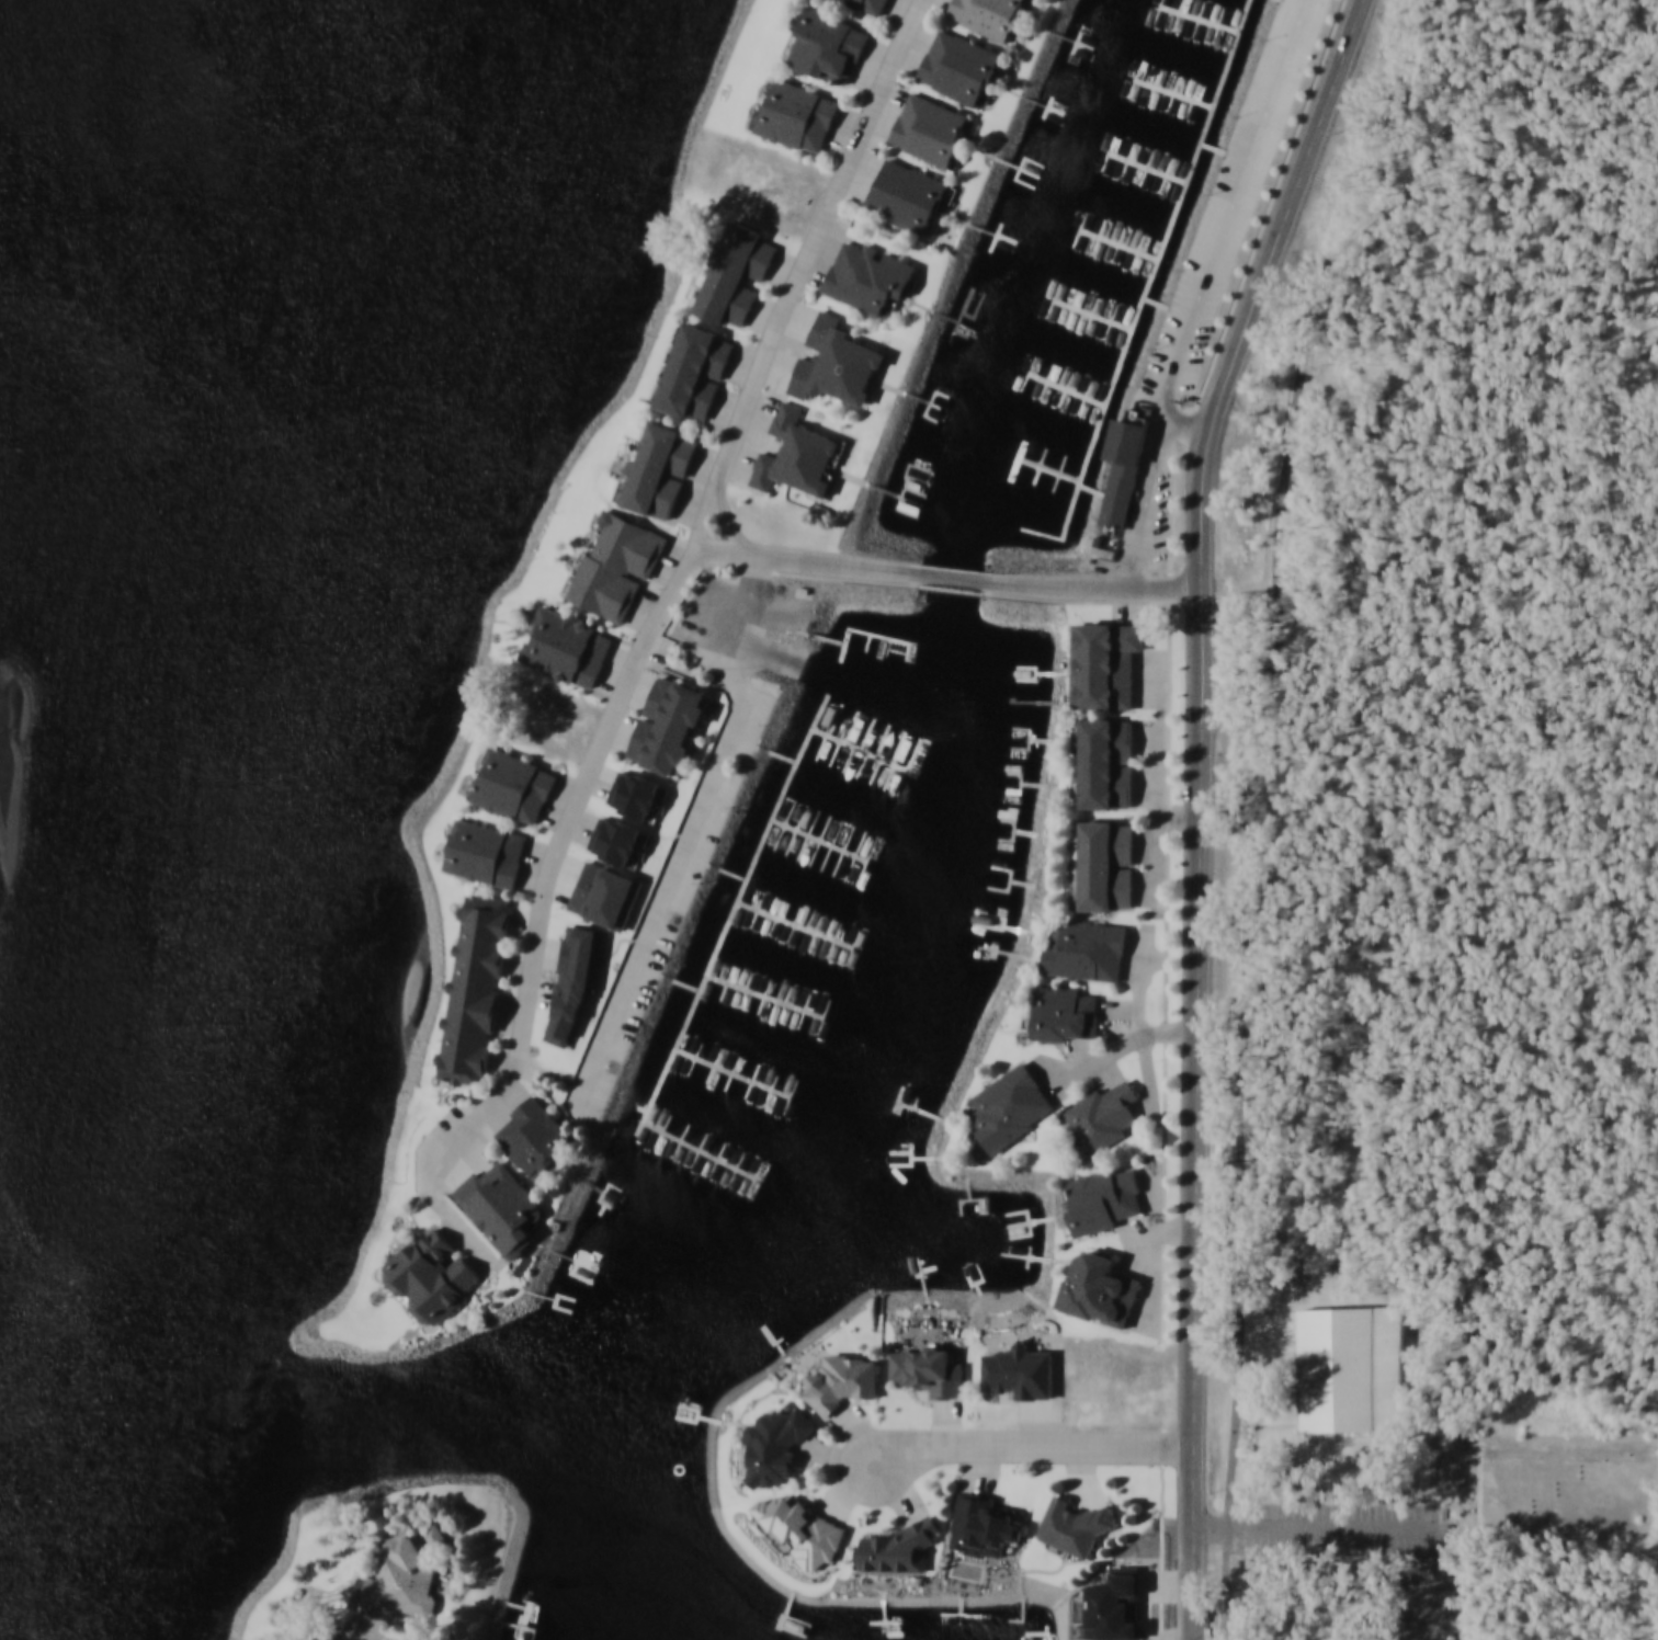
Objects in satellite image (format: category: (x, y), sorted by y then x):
pier: (1277, 0)
building: (871, 5)
pier: (1157, 12)
pier: (1177, 15)
building: (990, 16)
pier: (1199, 20)
pier: (1199, 20)
pier: (1216, 25)
building: (828, 45)
building: (961, 66)
pier: (1132, 82)
pier: (1150, 89)
pier: (1170, 95)
pier: (1172, 95)
pier: (1190, 102)
building: (798, 115)
building: (930, 128)
pier: (1211, 149)
pier: (1105, 156)
pier: (1124, 163)
pier: (1144, 169)
pier: (1145, 169)
pier: (1163, 175)
building: (910, 196)
parking lot: (1230, 200)
pier: (1077, 235)
pier: (1095, 242)
pier: (1116, 249)
pier: (1116, 249)
pier: (1135, 255)
building: (737, 273)
building: (867, 276)
pier: (1147, 289)
road: (1197, 291)
pier: (1052, 306)
pier: (1155, 306)
building: (970, 309)
pier: (1070, 314)
pier: (1091, 319)
pier: (1091, 319)
pier: (1110, 326)
road: (764, 355)
building: (837, 363)
building: (694, 371)
pier: (1025, 383)
pier: (1044, 390)
pier: (1064, 396)
pier: (1065, 396)
pier: (1082, 402)
road: (1191, 420)
park: (1616, 433)
building: (799, 455)
pier: (1015, 464)
pier: (1037, 468)
building: (1124, 468)
building: (659, 469)
pier: (1046, 472)
pier: (1057, 475)
pier: (1092, 490)
road: (704, 516)
road: (722, 555)
building: (615, 565)
road: (955, 577)
road: (1093, 586)
river: (222, 641)
building: (568, 647)
building: (1105, 663)
pier: (836, 718)
building: (669, 724)
pier: (852, 726)
pier: (868, 732)
pier: (884, 739)
pier: (822, 747)
pier: (899, 747)
pier: (860, 748)
pier: (836, 752)
pier: (915, 752)
pier: (779, 754)
pier: (849, 759)
building: (1105, 763)
pier: (863, 764)
pier: (876, 770)
road: (1239, 772)
pier: (890, 775)
pier: (904, 781)
building: (513, 784)
road: (1200, 806)
road: (576, 808)
pier: (786, 825)
pier: (797, 831)
pier: (809, 834)
pier: (821, 839)
pier: (821, 841)
pier: (832, 845)
pier: (844, 850)
building: (486, 852)
pier: (856, 855)
pier: (868, 859)
building: (1104, 865)
pier: (729, 873)
pier: (758, 911)
pier: (734, 913)
pier: (776, 920)
pier: (794, 927)
pier: (794, 929)
pier: (814, 937)
pier: (833, 945)
building: (1087, 949)
pier: (851, 954)
pier: (682, 983)
pier: (727, 984)
building: (475, 988)
pier: (745, 992)
pier: (764, 1001)
pier: (764, 1001)
pier: (783, 1010)
building: (1068, 1013)
pier: (803, 1018)
pier: (821, 1026)
road: (1117, 1044)
pier: (695, 1058)
pier: (715, 1067)
pier: (733, 1074)
pier: (734, 1074)
pier: (752, 1082)
pier: (771, 1091)
pier: (791, 1101)
building: (1012, 1106)
building: (1105, 1116)
pier: (665, 1131)
building: (536, 1137)
pier: (684, 1140)
pier: (702, 1148)
pier: (702, 1149)
pier: (722, 1157)
pier: (740, 1165)
road: (436, 1170)
pier: (759, 1173)
building: (1103, 1200)
building: (502, 1207)
building: (432, 1276)
building: (1101, 1289)
building: (1338, 1368)
building: (1020, 1371)
building: (843, 1379)
road: (1281, 1425)
road: (1262, 1430)
road: (1352, 1438)
building: (776, 1445)
road: (1049, 1447)
road: (1325, 1472)
road: (1483, 1483)
park: (1560, 1484)
road: (507, 1485)
road: (1397, 1490)
road: (876, 1491)
road: (1463, 1496)
road: (1339, 1505)
building: (986, 1525)
building: (1074, 1526)
building: (438, 1535)
building: (895, 1549)
parking lot: (1373, 1549)
building: (400, 1583)
road: (303, 1614)
road: (341, 1633)

